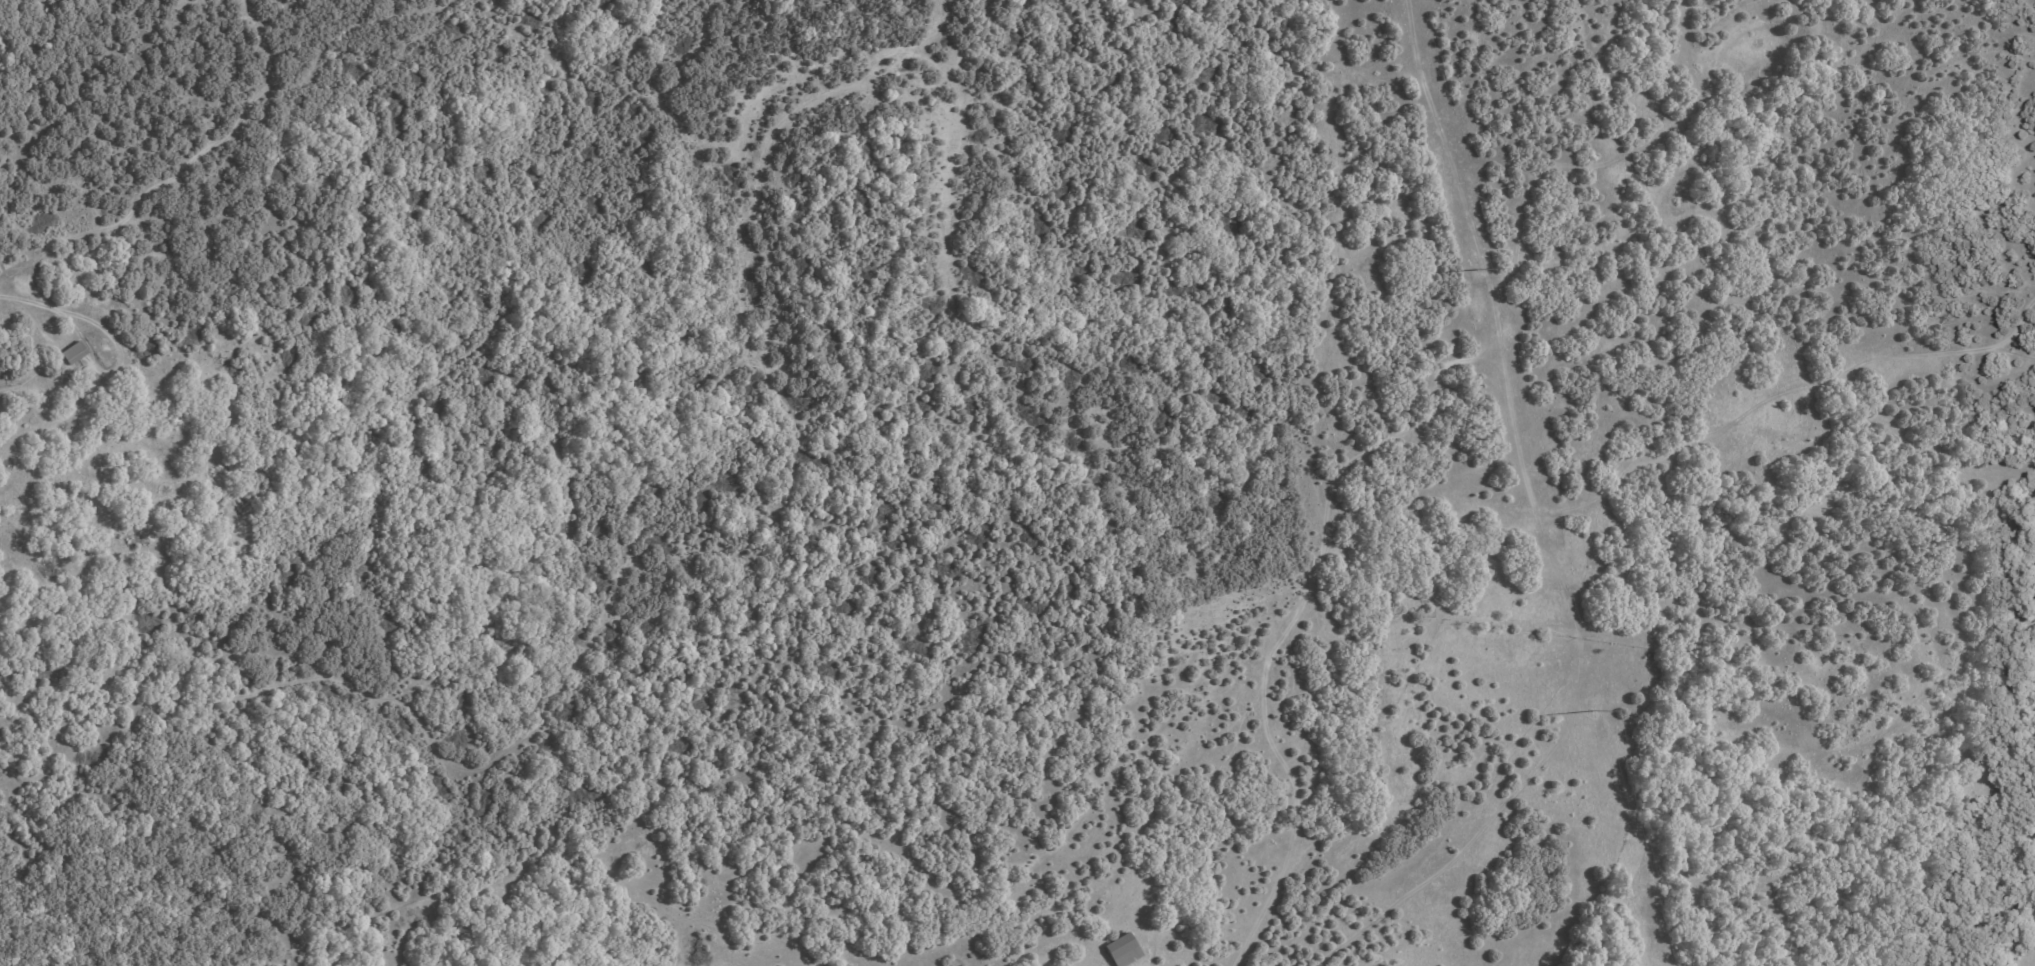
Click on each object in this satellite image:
power tower: (1478, 269)
road: (32, 302)
power tower: (1593, 711)
building: (1121, 950)

